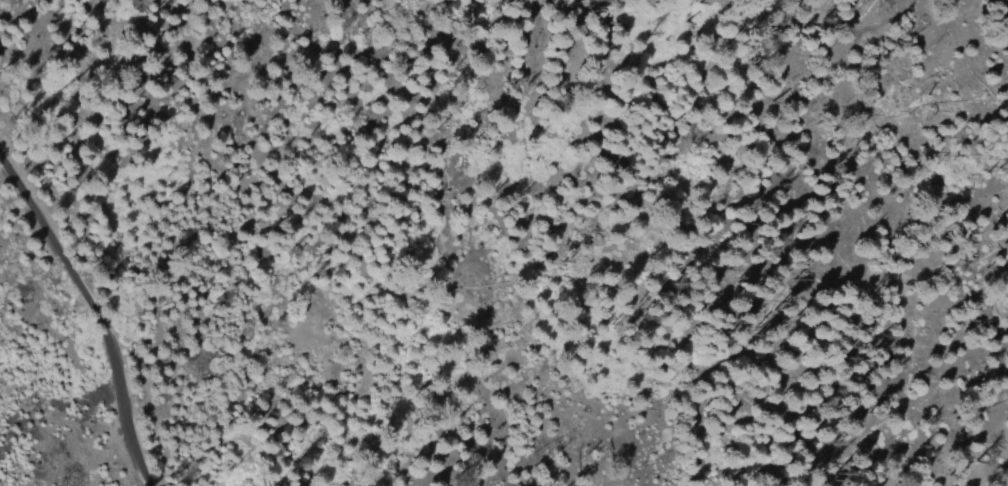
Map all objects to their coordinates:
road: (100, 308)

